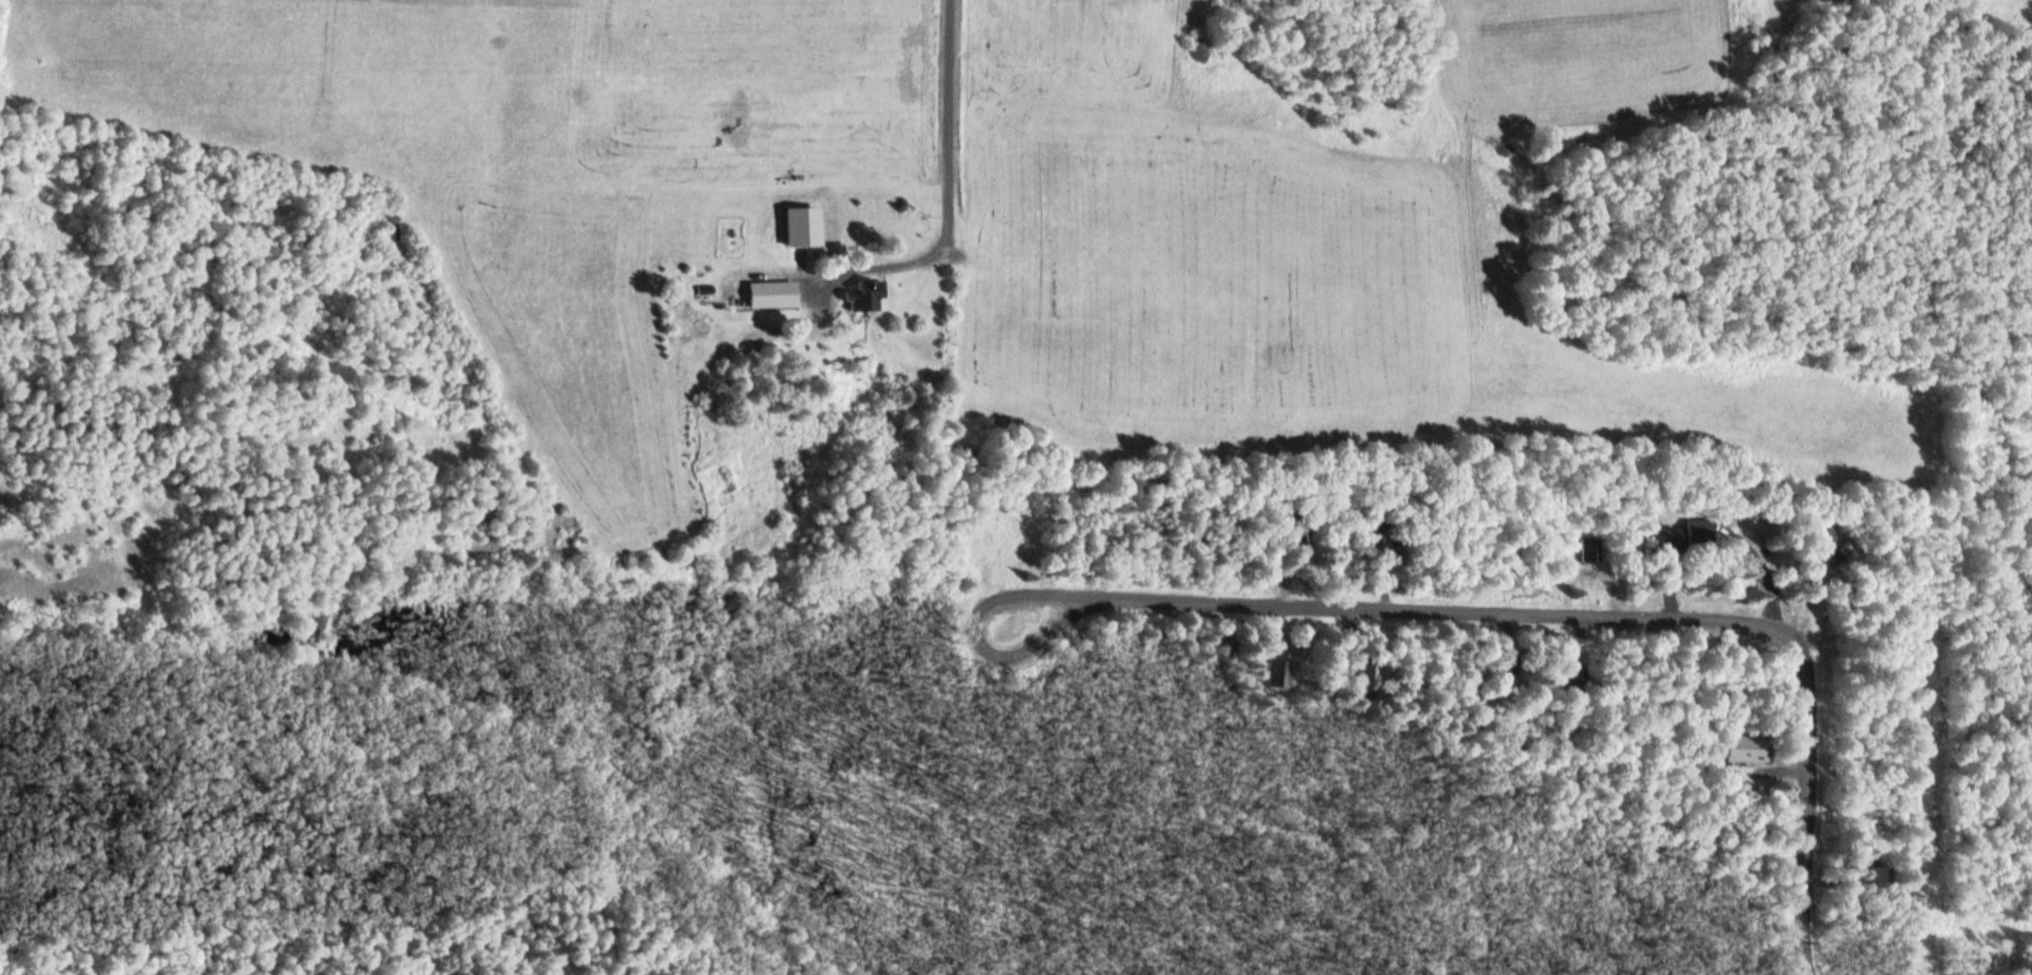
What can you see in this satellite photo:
road: (964, 163)
building: (767, 295)
building: (864, 296)
building: (1297, 532)
building: (1662, 542)
building: (1590, 551)
road: (1421, 608)
building: (1501, 673)
building: (1279, 674)
building: (1371, 677)
building: (1575, 678)
building: (1739, 749)
road: (1782, 772)
road: (1810, 814)
building: (1878, 877)

